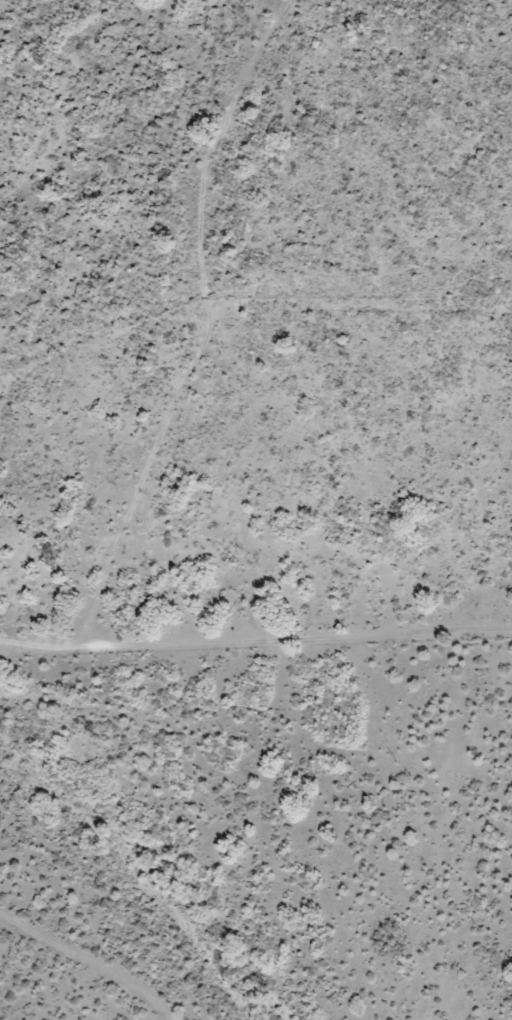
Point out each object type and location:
road: (255, 636)

